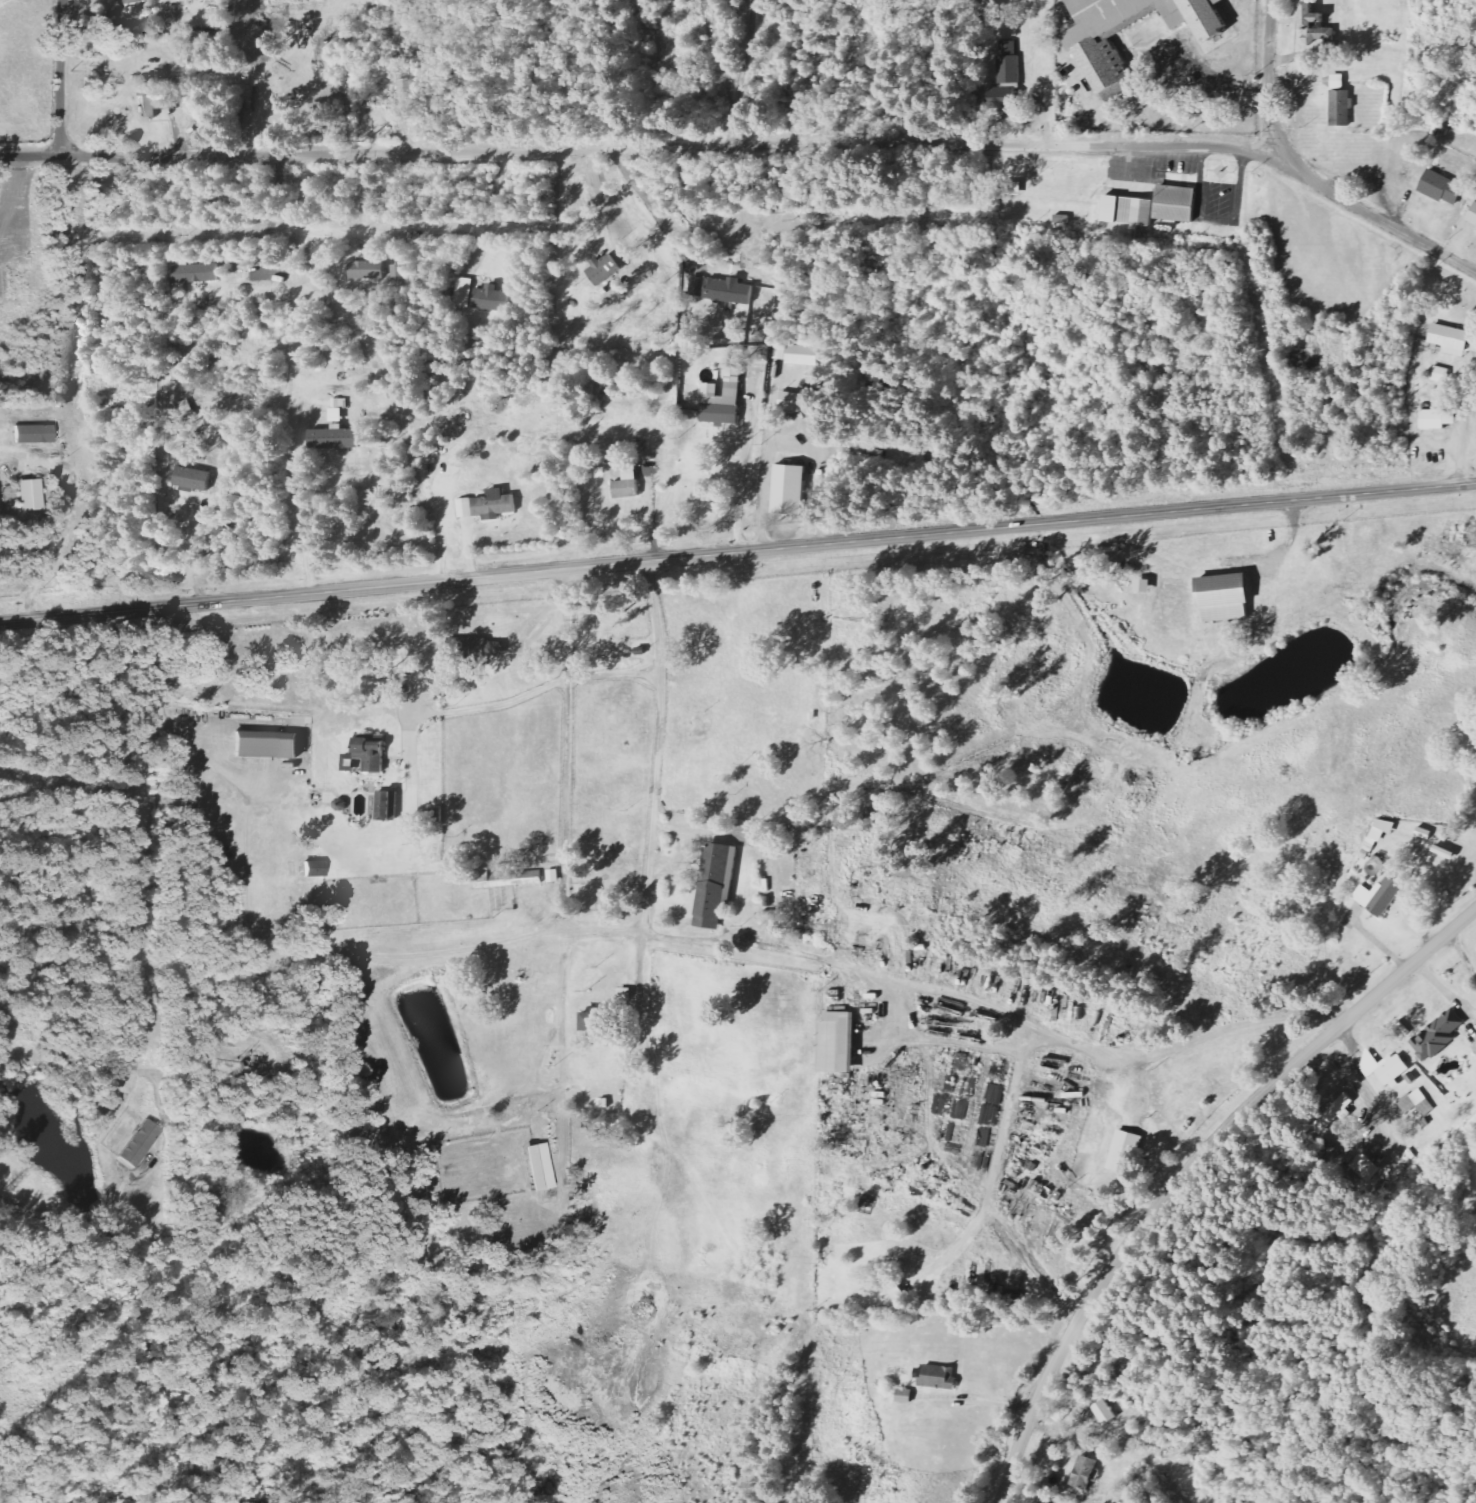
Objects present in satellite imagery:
building: (1311, 17)
building: (259, 40)
building: (1101, 59)
road: (60, 77)
building: (1338, 82)
building: (153, 100)
building: (1002, 103)
building: (1341, 108)
road: (645, 148)
road: (1310, 176)
building: (1442, 187)
building: (1015, 188)
building: (1175, 203)
road: (491, 208)
building: (1128, 210)
building: (1472, 215)
building: (603, 269)
building: (368, 270)
building: (399, 270)
building: (197, 273)
building: (728, 291)
building: (465, 292)
building: (492, 298)
building: (1450, 338)
building: (780, 353)
building: (804, 355)
building: (722, 401)
building: (800, 402)
building: (1437, 419)
building: (335, 438)
building: (192, 479)
building: (627, 482)
building: (789, 490)
building: (26, 495)
building: (487, 505)
road: (737, 552)
building: (1143, 586)
building: (1222, 598)
building: (478, 648)
building: (264, 744)
road: (658, 747)
building: (366, 755)
building: (387, 805)
building: (1382, 829)
building: (1424, 833)
building: (312, 869)
building: (554, 875)
building: (507, 878)
building: (715, 883)
building: (1379, 895)
road: (450, 952)
building: (624, 993)
building: (595, 1021)
building: (1438, 1035)
building: (837, 1042)
building: (1474, 1046)
road: (1070, 1061)
building: (1394, 1069)
building: (1418, 1103)
building: (1333, 1114)
road: (923, 1121)
building: (138, 1144)
building: (1124, 1152)
building: (536, 1167)
building: (1364, 1167)
road: (1189, 1168)
road: (992, 1196)
building: (938, 1377)
building: (1104, 1411)
building: (1084, 1471)

